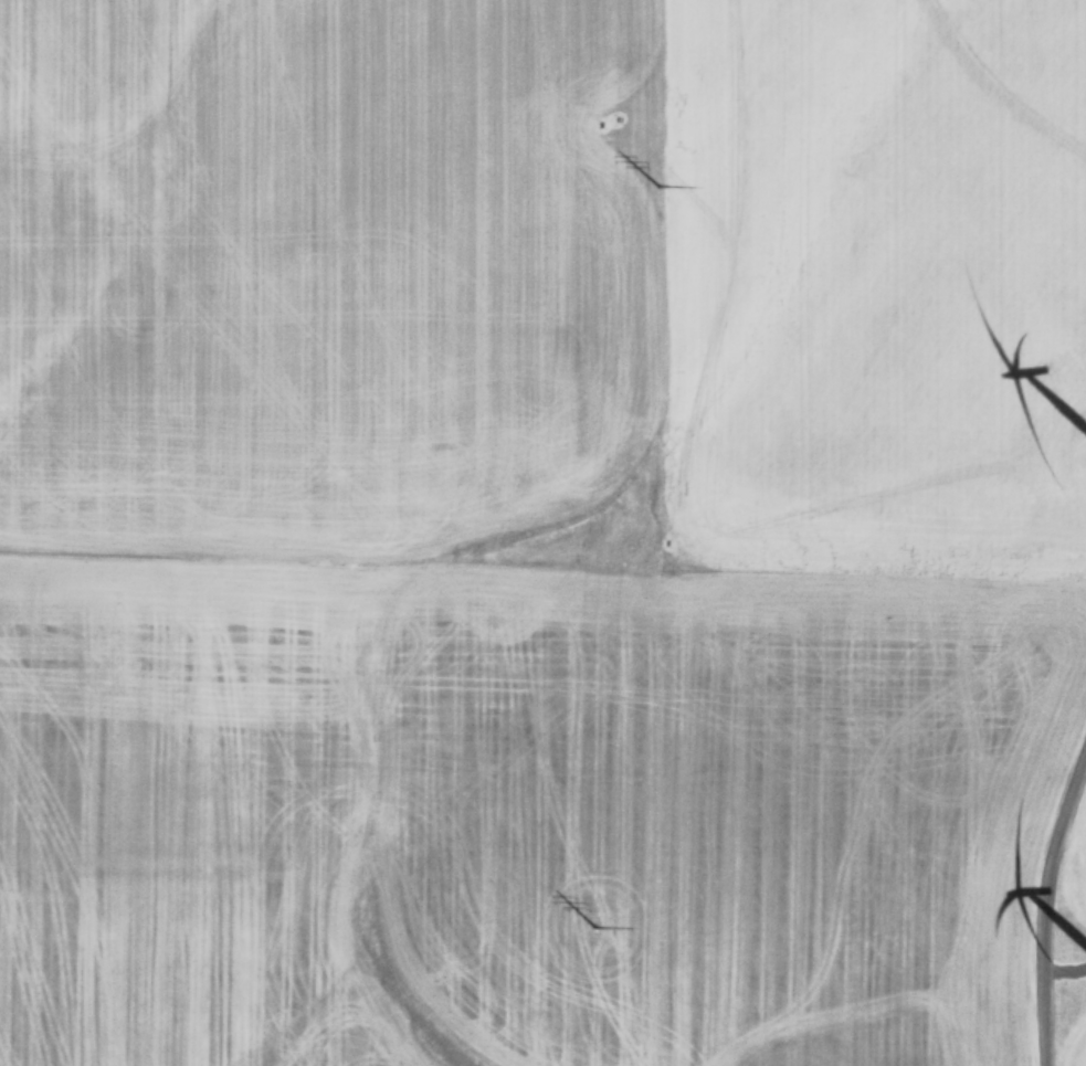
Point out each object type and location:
power tower: (658, 196)
road: (1040, 889)
power tower: (593, 936)

